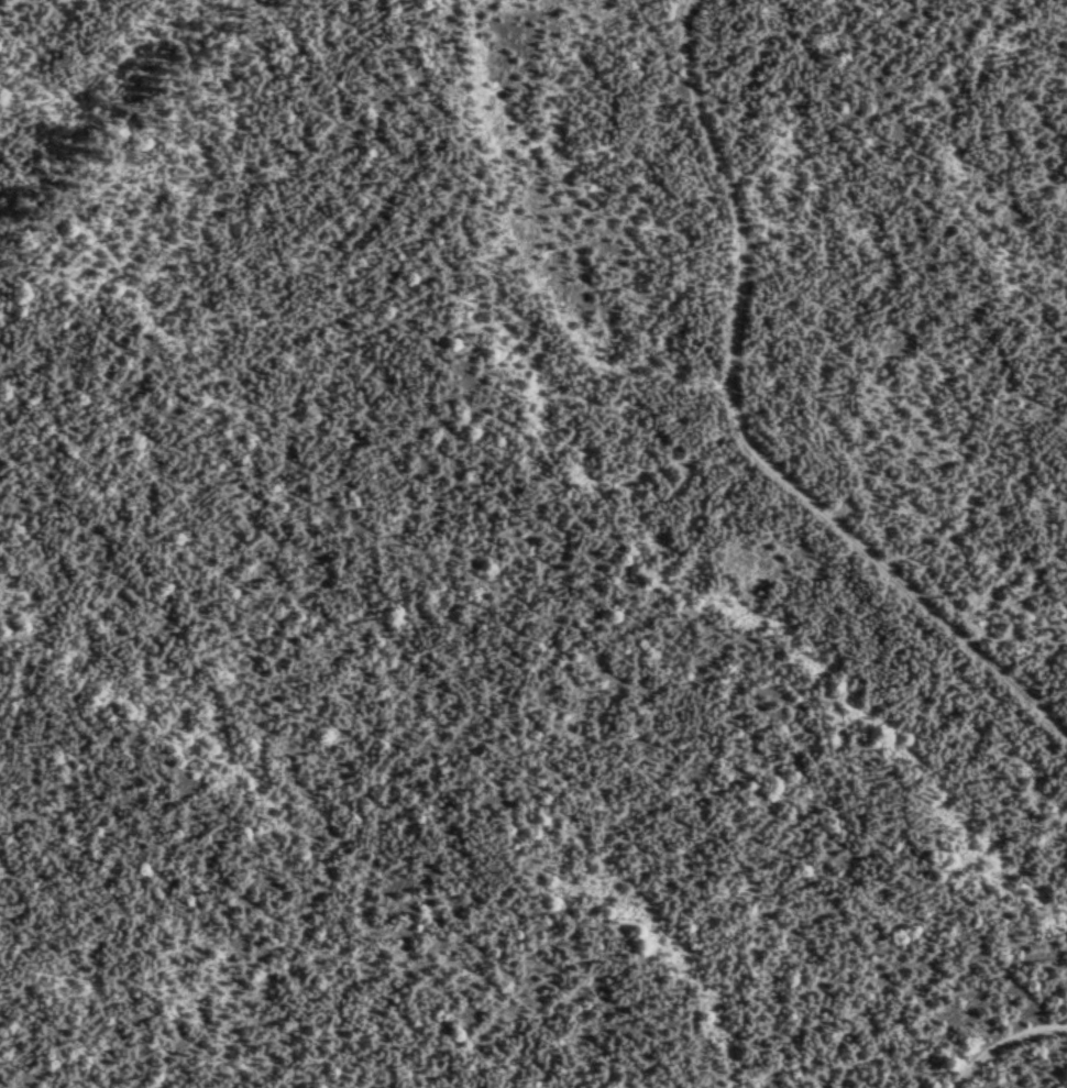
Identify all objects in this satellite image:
road: (739, 432)
road: (1004, 1051)

